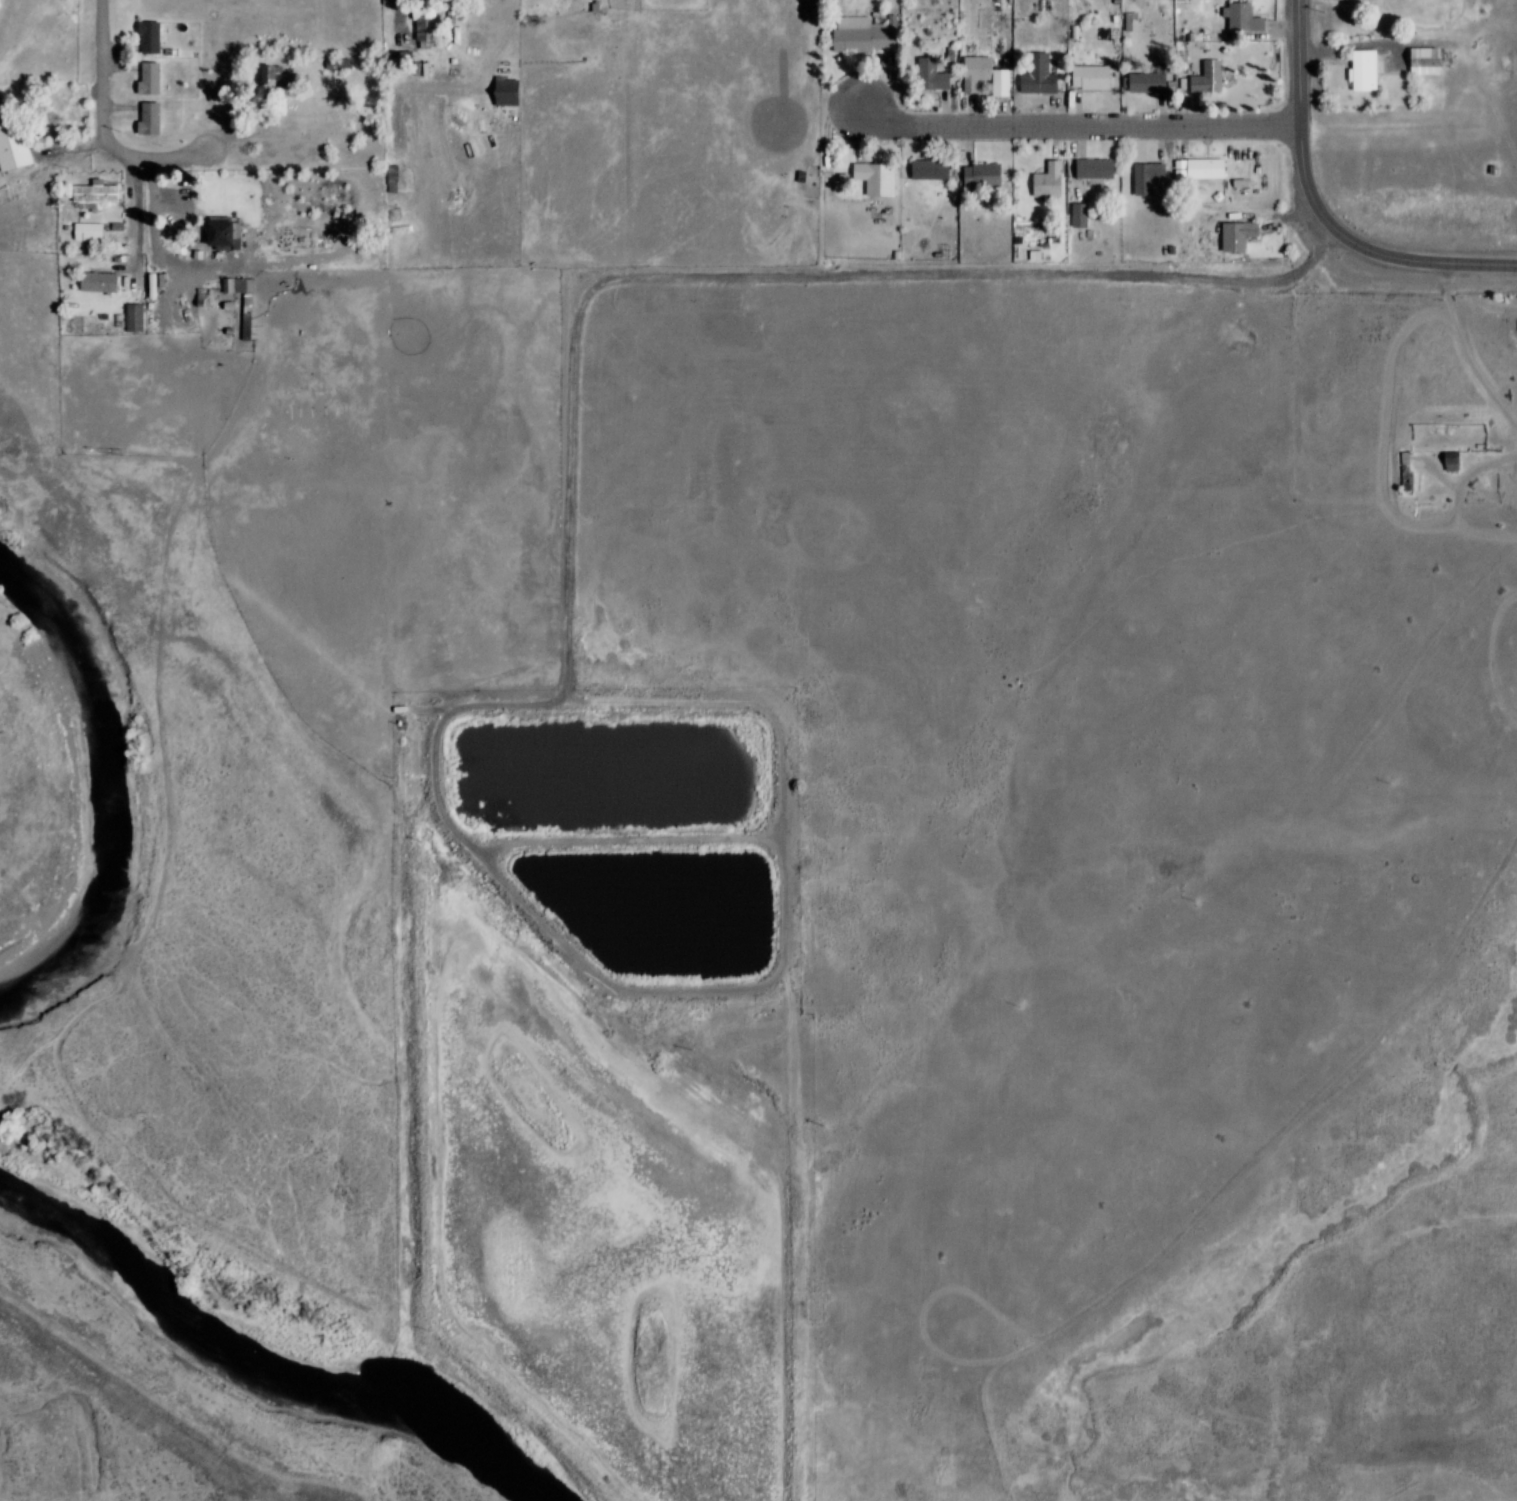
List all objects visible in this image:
building: (395, 3)
building: (604, 7)
building: (1252, 17)
building: (423, 26)
building: (436, 28)
building: (404, 30)
building: (1084, 33)
building: (867, 35)
building: (159, 36)
building: (146, 37)
building: (1433, 61)
building: (334, 63)
building: (351, 63)
building: (1371, 70)
building: (983, 72)
building: (939, 73)
building: (1046, 74)
building: (279, 75)
building: (1099, 76)
building: (1217, 78)
building: (147, 79)
building: (159, 79)
building: (1154, 82)
building: (1007, 83)
road: (490, 84)
building: (517, 91)
building: (504, 92)
building: (147, 119)
building: (158, 119)
road: (1084, 125)
road: (117, 137)
building: (21, 140)
road: (174, 156)
building: (1207, 167)
building: (937, 169)
building: (1103, 169)
building: (1503, 170)
building: (992, 171)
building: (1155, 175)
building: (402, 176)
building: (885, 177)
building: (1056, 180)
building: (105, 195)
building: (405, 212)
road: (1318, 214)
building: (1078, 215)
building: (1088, 215)
building: (193, 223)
building: (128, 227)
building: (412, 229)
building: (98, 231)
building: (230, 235)
building: (1247, 235)
building: (1044, 255)
road: (773, 274)
building: (110, 281)
building: (161, 285)
building: (149, 286)
building: (249, 287)
building: (237, 289)
building: (214, 300)
building: (238, 305)
building: (116, 316)
building: (146, 316)
building: (131, 321)
building: (240, 331)
road: (1468, 351)
building: (1449, 461)
building: (1462, 461)
road: (490, 701)
building: (412, 708)
river: (131, 785)
wastewater plant: (640, 833)
road: (637, 840)
road: (1116, 968)
road: (1231, 1183)
river: (74, 1214)
river: (348, 1378)

